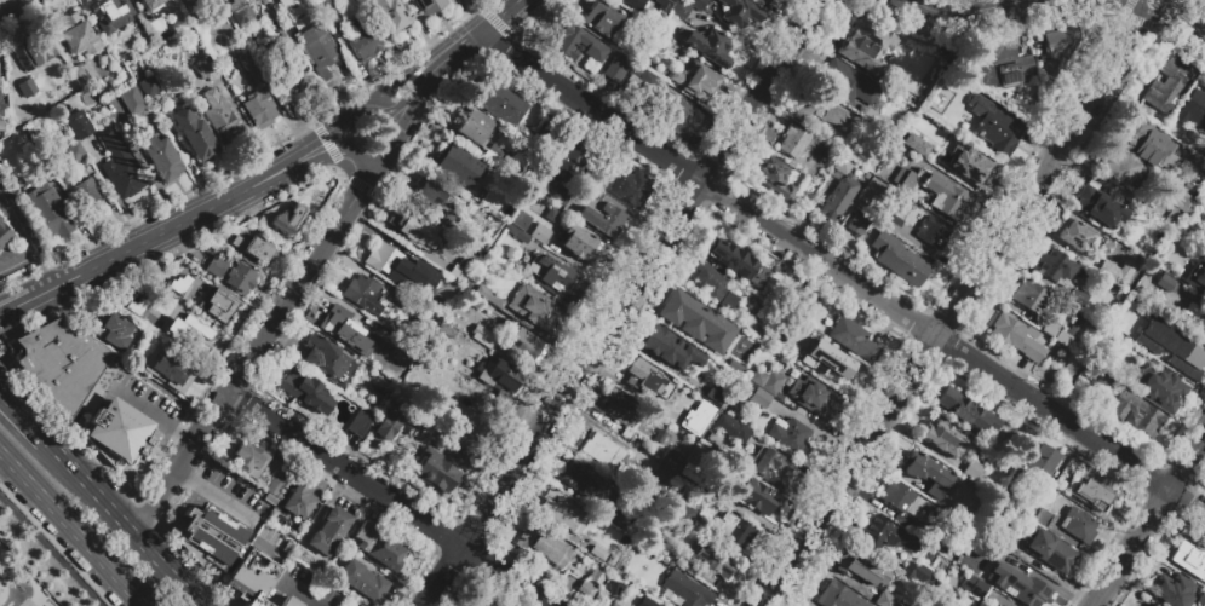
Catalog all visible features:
building: (325, 0)
road: (1152, 0)
building: (764, 1)
building: (150, 4)
building: (635, 4)
building: (696, 4)
building: (430, 5)
building: (664, 5)
road: (13, 7)
building: (679, 10)
building: (739, 12)
building: (110, 13)
building: (240, 13)
road: (969, 13)
road: (1178, 13)
building: (332, 15)
building: (391, 15)
road: (498, 17)
building: (599, 18)
building: (275, 25)
building: (156, 28)
building: (79, 35)
building: (310, 36)
road: (1129, 41)
building: (365, 44)
building: (563, 44)
building: (863, 44)
building: (708, 46)
building: (1058, 47)
road: (455, 51)
building: (33, 52)
building: (1006, 62)
building: (251, 65)
building: (616, 68)
building: (207, 70)
building: (80, 73)
building: (695, 80)
building: (632, 82)
building: (851, 83)
building: (97, 86)
building: (149, 86)
building: (27, 87)
road: (761, 90)
building: (1164, 90)
road: (413, 93)
building: (132, 100)
building: (503, 104)
road: (590, 106)
building: (259, 108)
building: (1193, 109)
building: (820, 110)
building: (217, 114)
building: (676, 115)
road: (390, 116)
building: (4, 125)
building: (79, 125)
building: (995, 125)
building: (472, 127)
building: (193, 133)
road: (327, 134)
building: (792, 142)
building: (1144, 142)
building: (917, 144)
building: (495, 149)
road: (337, 150)
building: (74, 152)
building: (162, 158)
building: (493, 158)
building: (564, 160)
road: (302, 166)
building: (459, 166)
building: (970, 166)
road: (271, 167)
building: (1121, 167)
building: (121, 168)
building: (776, 178)
building: (603, 180)
road: (264, 184)
road: (357, 187)
building: (631, 189)
building: (591, 190)
building: (839, 190)
building: (82, 192)
building: (430, 194)
building: (942, 196)
building: (561, 197)
building: (1175, 200)
building: (899, 207)
building: (1100, 207)
building: (48, 210)
building: (550, 214)
building: (288, 218)
building: (603, 219)
building: (520, 220)
building: (451, 221)
road: (18, 224)
building: (857, 224)
building: (893, 224)
building: (926, 227)
building: (407, 230)
building: (4, 233)
building: (539, 233)
building: (1074, 233)
road: (150, 237)
building: (583, 246)
building: (253, 248)
building: (733, 258)
building: (899, 259)
road: (18, 264)
building: (216, 266)
building: (1055, 266)
building: (398, 267)
road: (45, 270)
building: (1114, 270)
building: (552, 276)
building: (240, 277)
building: (1197, 277)
building: (1165, 282)
building: (712, 284)
building: (180, 288)
building: (363, 293)
building: (1029, 295)
building: (398, 298)
building: (492, 298)
road: (28, 299)
building: (1077, 299)
building: (217, 304)
road: (2, 305)
road: (286, 306)
building: (534, 308)
building: (1124, 312)
building: (153, 317)
building: (1195, 317)
building: (696, 322)
building: (1074, 324)
building: (1152, 325)
building: (1050, 328)
building: (111, 330)
building: (344, 330)
building: (489, 335)
building: (199, 336)
building: (1015, 336)
building: (385, 339)
building: (853, 339)
road: (931, 342)
building: (149, 345)
building: (530, 345)
road: (952, 346)
building: (670, 348)
building: (323, 357)
building: (1177, 357)
building: (828, 359)
building: (65, 367)
building: (168, 367)
building: (735, 368)
building: (499, 375)
building: (647, 379)
building: (767, 380)
building: (788, 381)
building: (1100, 382)
building: (306, 391)
building: (1163, 391)
building: (716, 392)
road: (562, 393)
building: (815, 397)
building: (759, 398)
road: (224, 402)
building: (620, 409)
building: (711, 410)
road: (147, 411)
building: (968, 411)
road: (216, 412)
road: (24, 414)
building: (1136, 414)
road: (212, 419)
building: (360, 423)
building: (694, 423)
building: (388, 426)
building: (733, 428)
building: (119, 429)
building: (791, 435)
road: (185, 437)
building: (942, 437)
road: (193, 445)
building: (602, 452)
building: (671, 458)
road: (6, 460)
building: (249, 460)
building: (1043, 462)
building: (769, 467)
building: (971, 471)
road: (78, 472)
building: (437, 473)
building: (661, 473)
building: (689, 473)
building: (925, 473)
road: (185, 474)
building: (264, 479)
building: (581, 479)
building: (275, 486)
building: (1090, 495)
building: (308, 496)
building: (757, 496)
road: (392, 498)
road: (154, 500)
building: (902, 500)
road: (225, 502)
building: (676, 506)
building: (560, 507)
building: (748, 514)
building: (614, 516)
building: (300, 518)
building: (1042, 518)
road: (1149, 521)
building: (764, 525)
building: (1078, 525)
building: (735, 529)
road: (132, 531)
building: (329, 531)
building: (883, 533)
road: (75, 536)
building: (210, 537)
building: (1000, 537)
building: (585, 542)
building: (941, 542)
building: (543, 544)
building: (271, 546)
building: (378, 546)
road: (52, 549)
building: (1050, 550)
building: (670, 552)
road: (266, 555)
building: (1188, 558)
building: (712, 560)
building: (860, 566)
road: (239, 567)
building: (914, 572)
building: (596, 577)
building: (362, 581)
road: (178, 582)
building: (1018, 585)
building: (974, 587)
building: (687, 589)
building: (1172, 589)
building: (585, 590)
road: (218, 596)
building: (838, 596)
building: (884, 599)
building: (1201, 600)
building: (289, 601)
building: (647, 602)
building: (262, 604)
building: (481, 604)
building: (976, 604)
building: (1148, 604)
building: (995, 605)
building: (999, 605)

